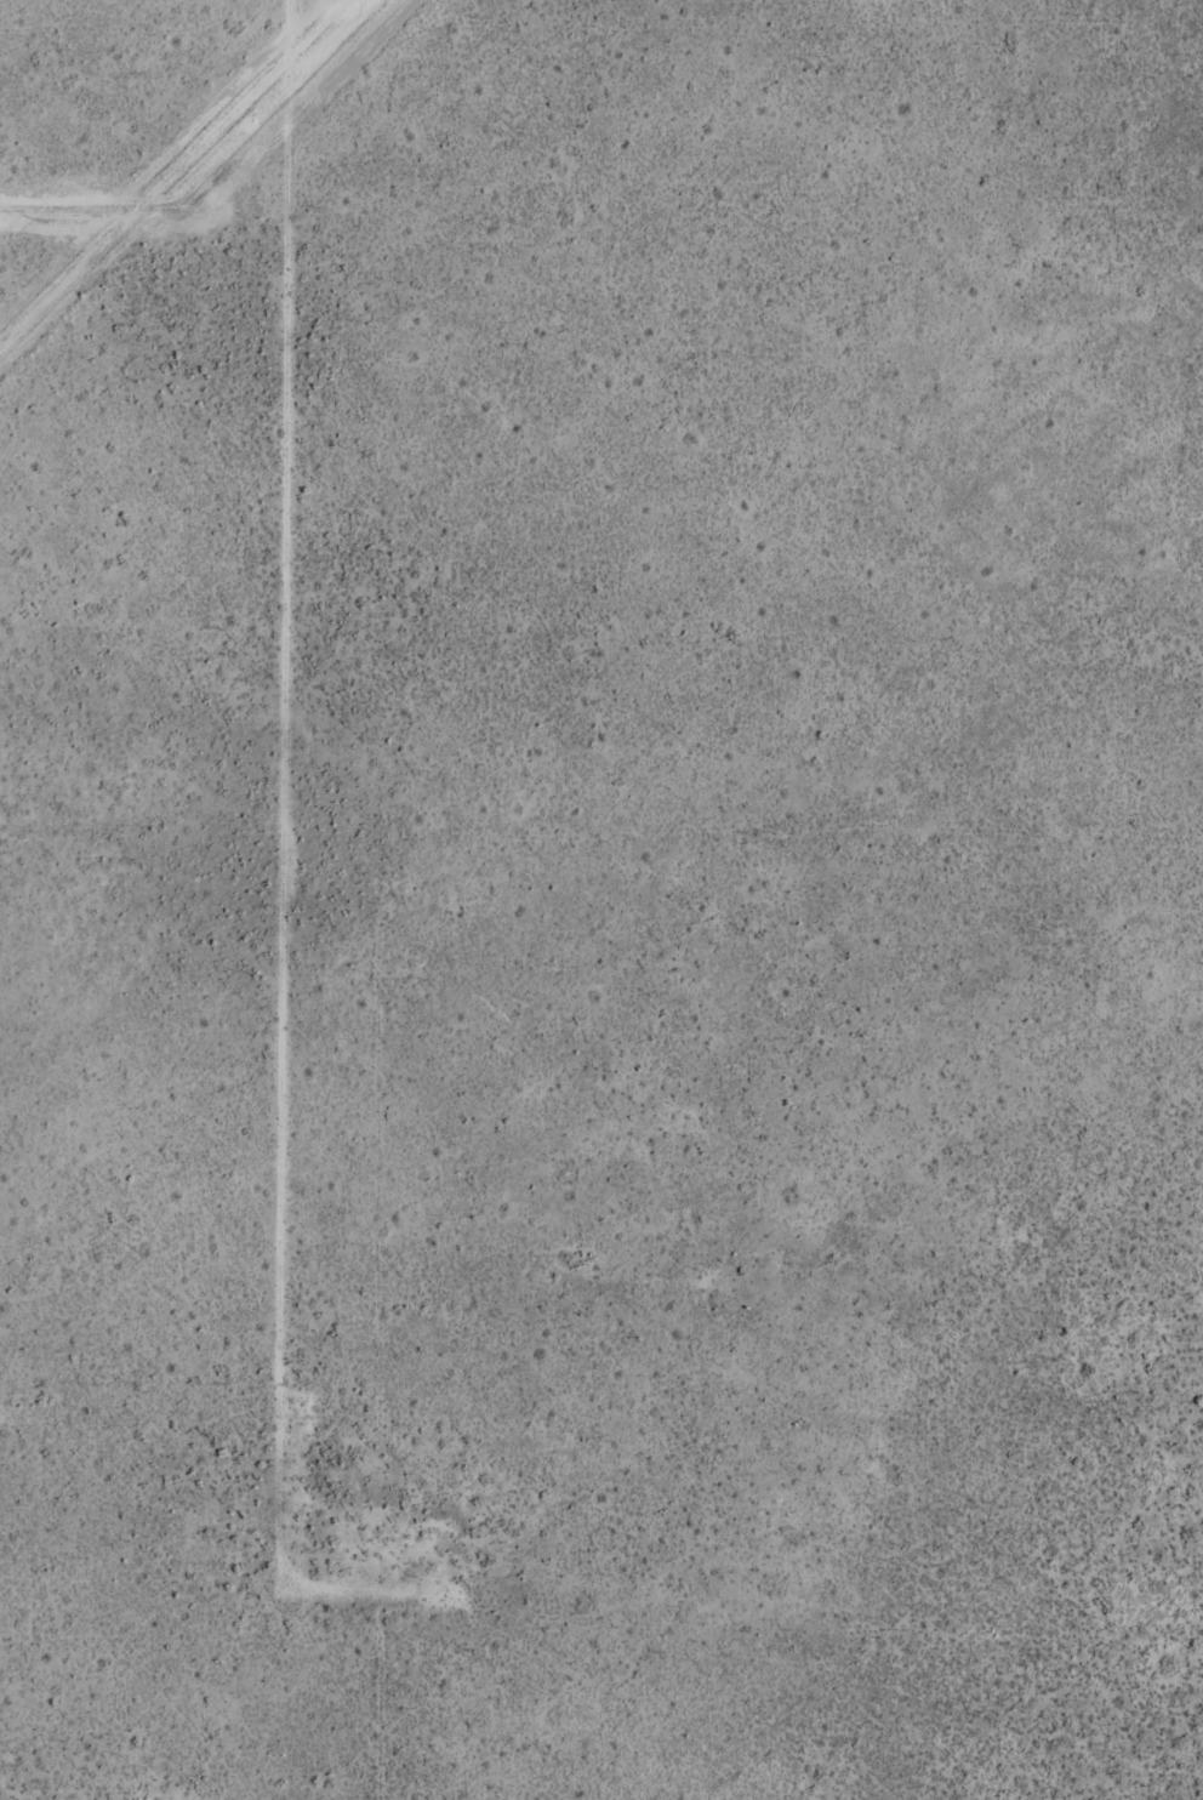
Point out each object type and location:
road: (304, 767)

